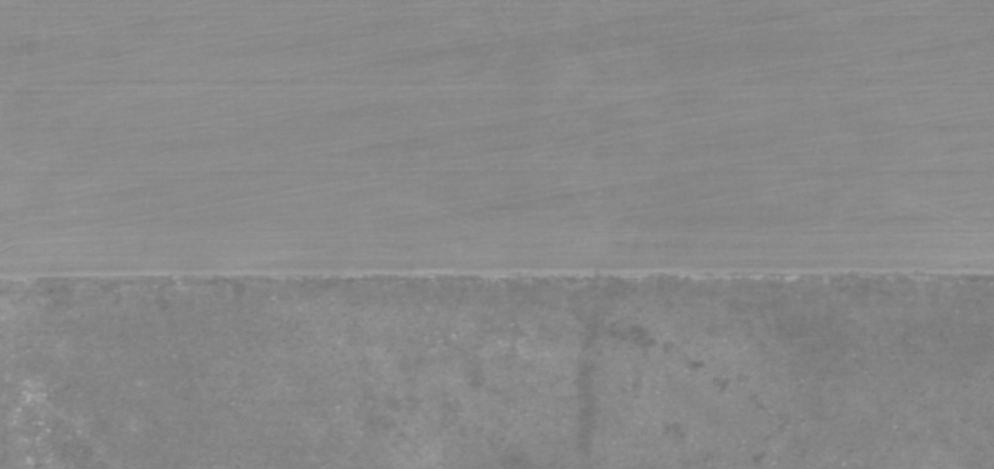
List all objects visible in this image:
crop: (498, 135)

